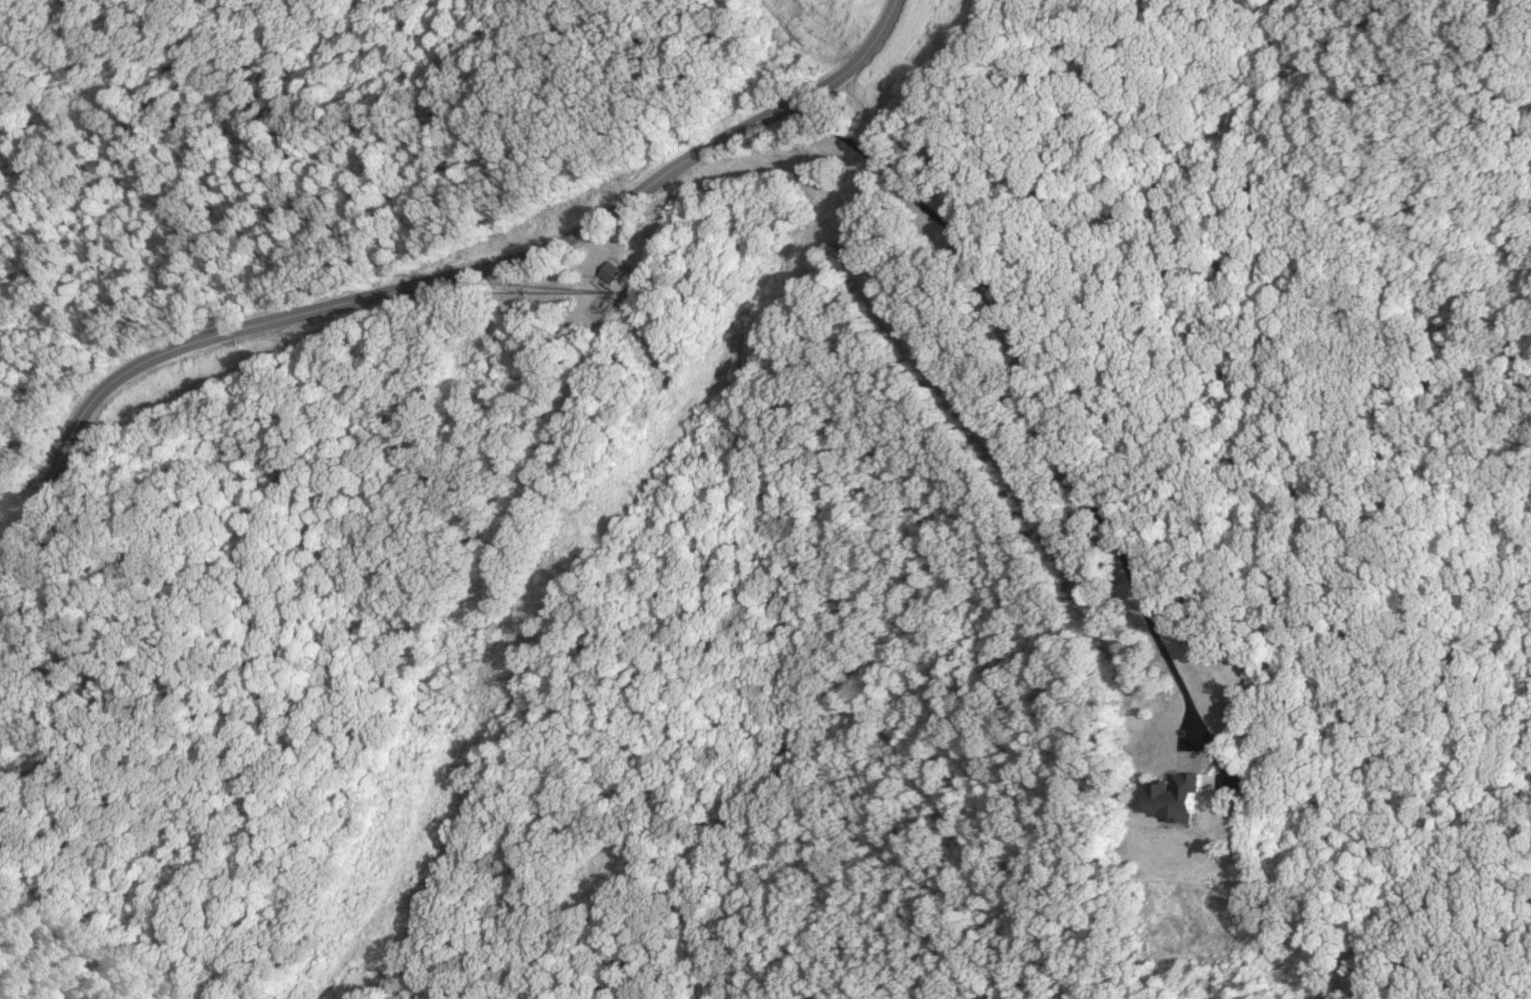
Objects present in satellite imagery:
building: (614, 272)
road: (429, 279)
road: (1031, 387)
road: (64, 621)
building: (4, 728)
building: (1173, 798)

